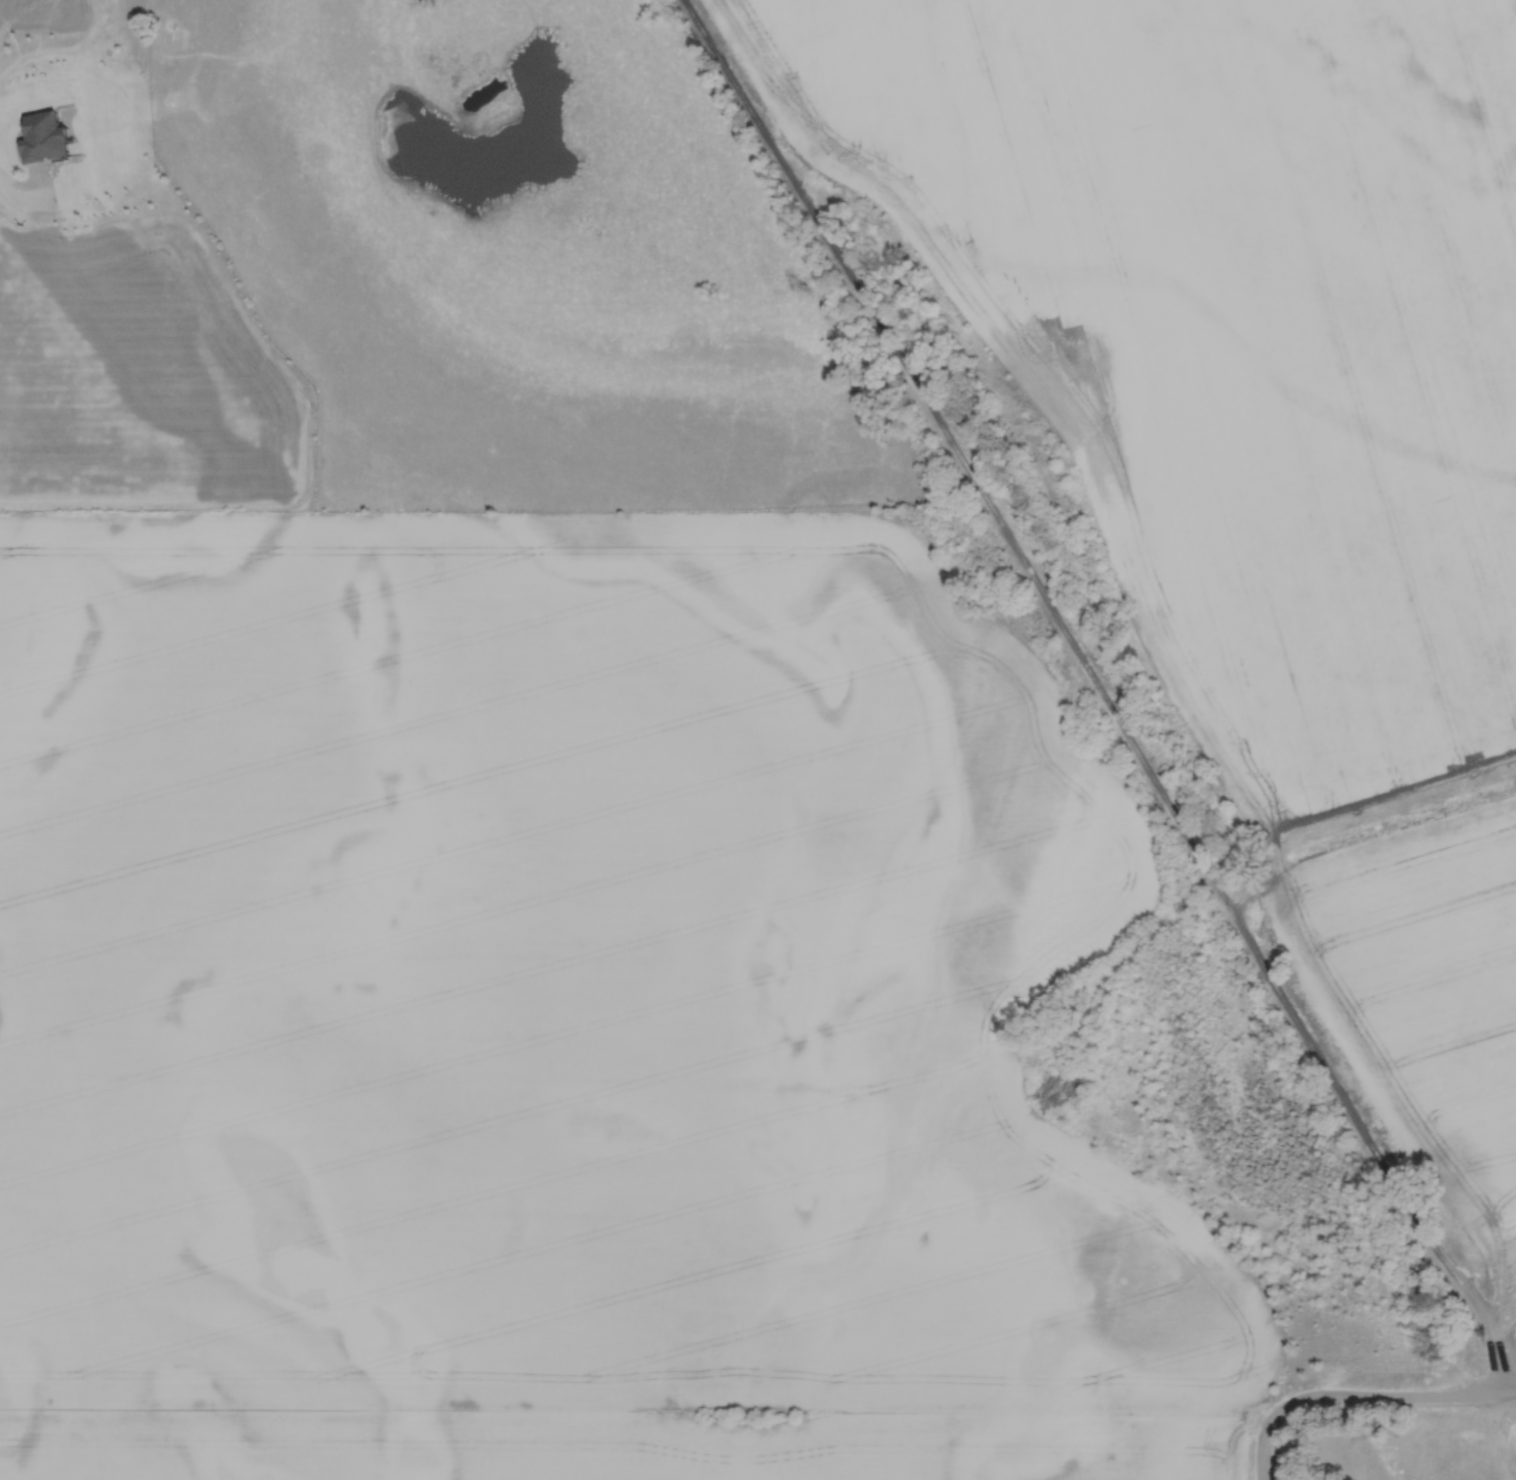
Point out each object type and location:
road: (13, 185)
road: (1386, 1402)
road: (1269, 1458)

